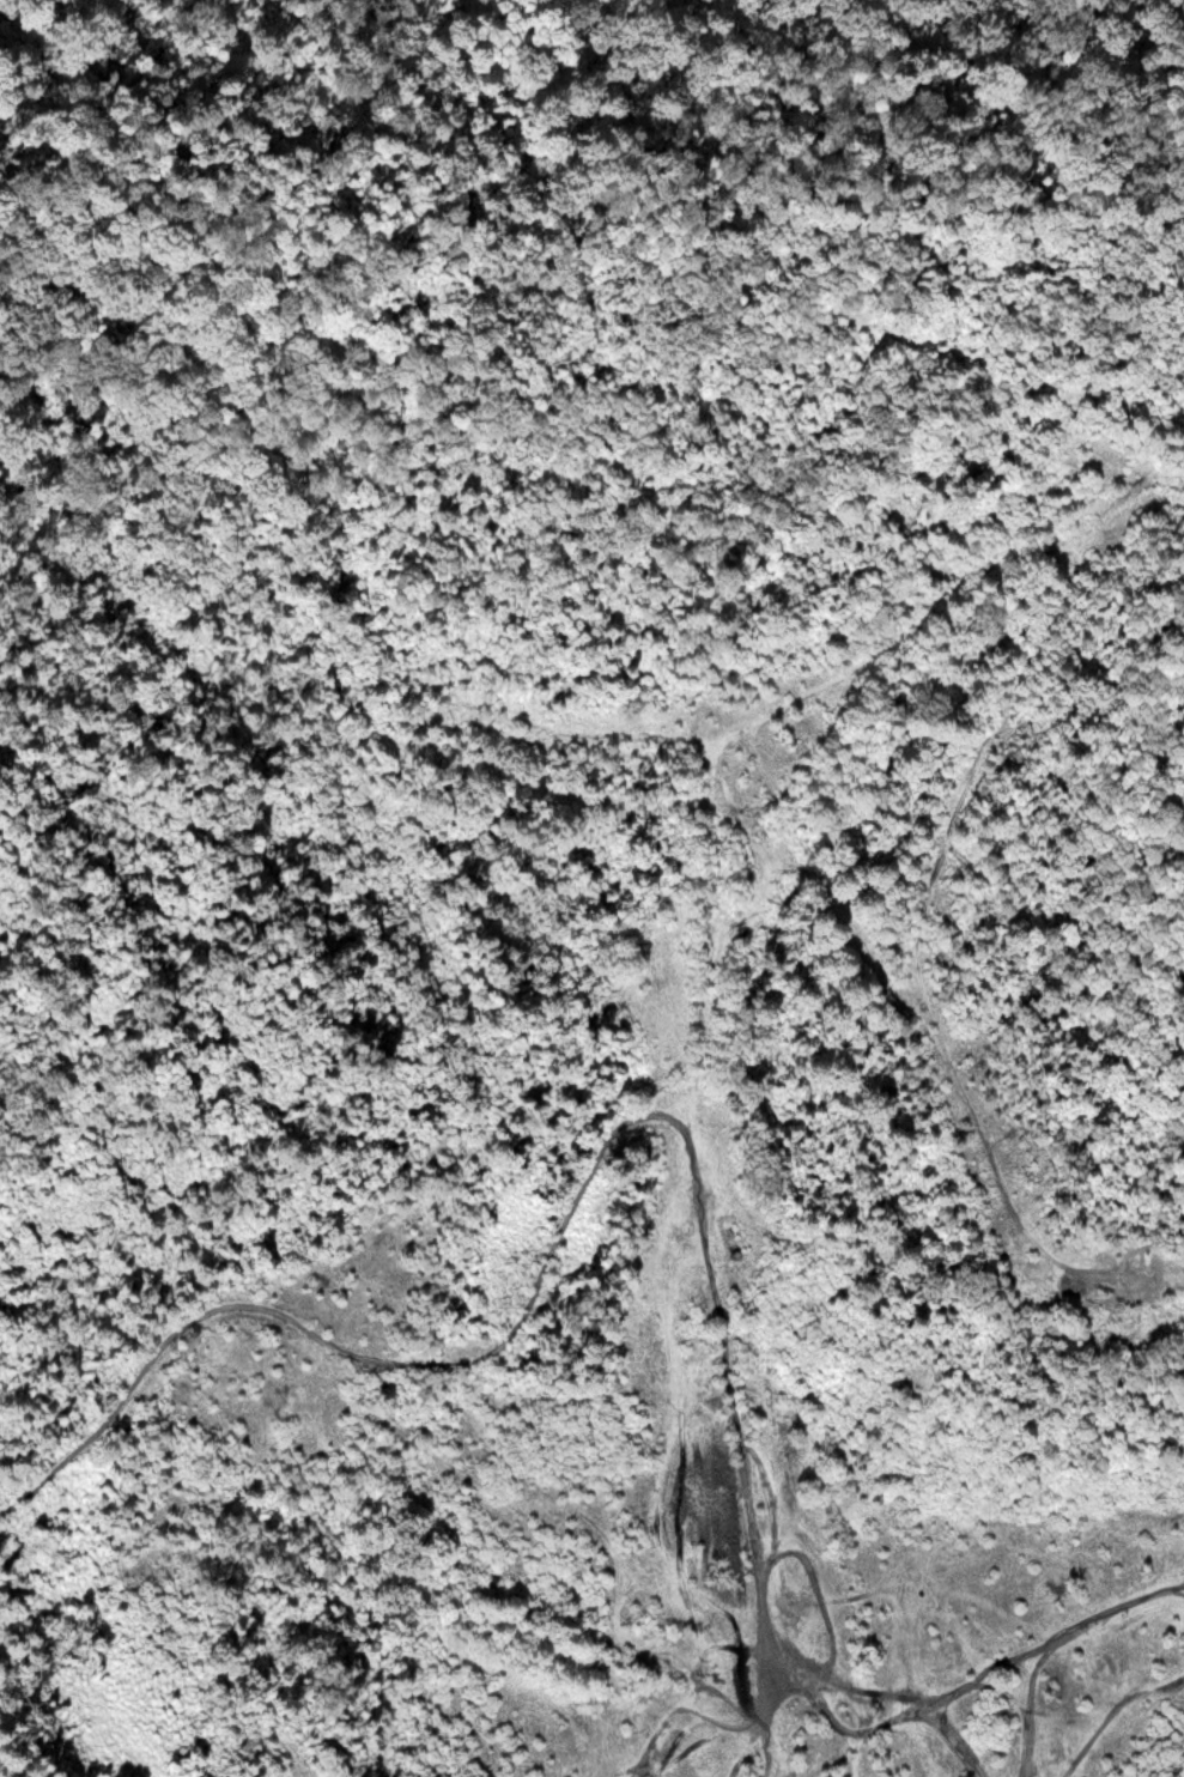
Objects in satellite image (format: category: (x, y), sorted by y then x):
road: (925, 905)
road: (612, 1141)
road: (1042, 1643)

